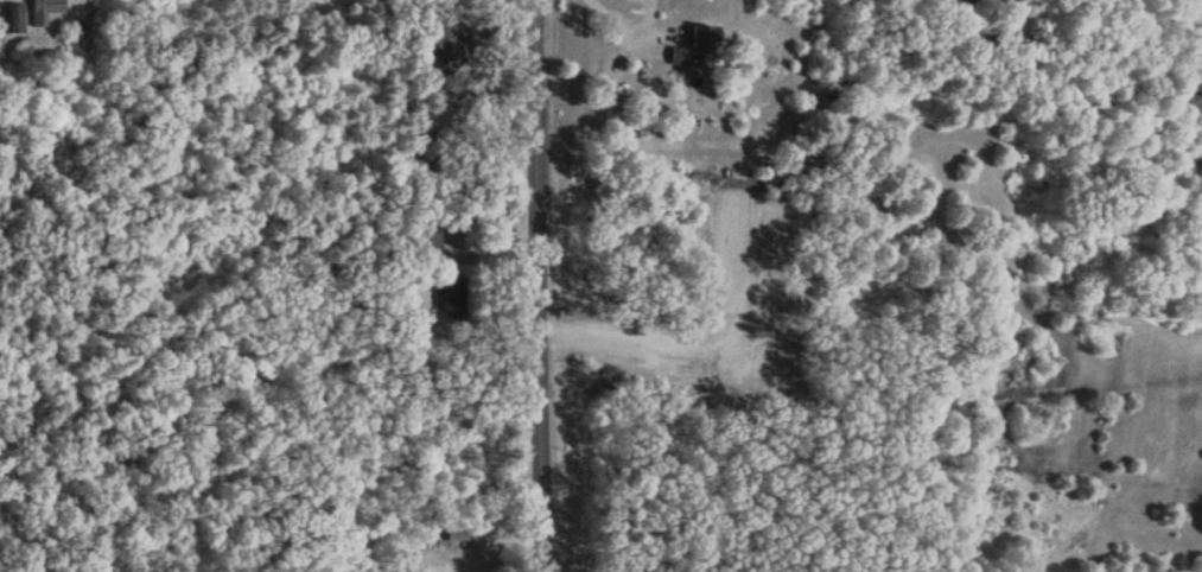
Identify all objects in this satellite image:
road: (498, 6)
building: (43, 9)
road: (520, 11)
building: (9, 18)
road: (470, 28)
road: (625, 32)
building: (693, 46)
building: (443, 49)
road: (535, 286)
building: (450, 295)
road: (630, 342)

